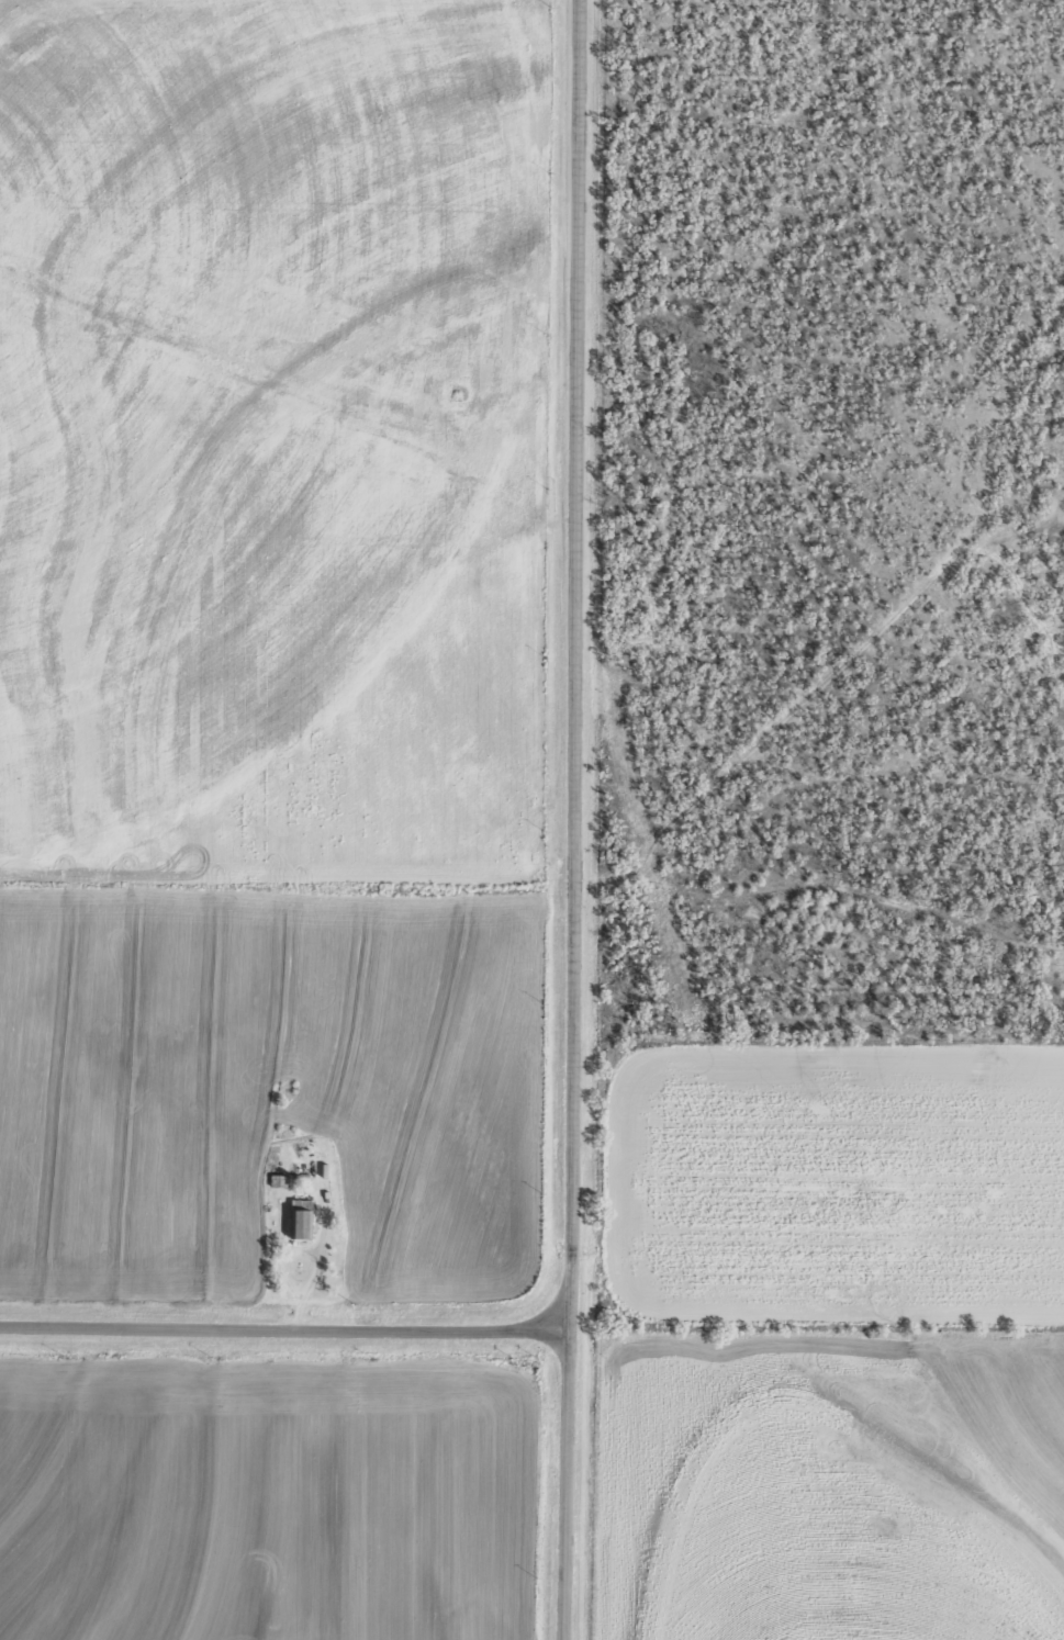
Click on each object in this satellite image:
road: (581, 820)
road: (288, 1324)

